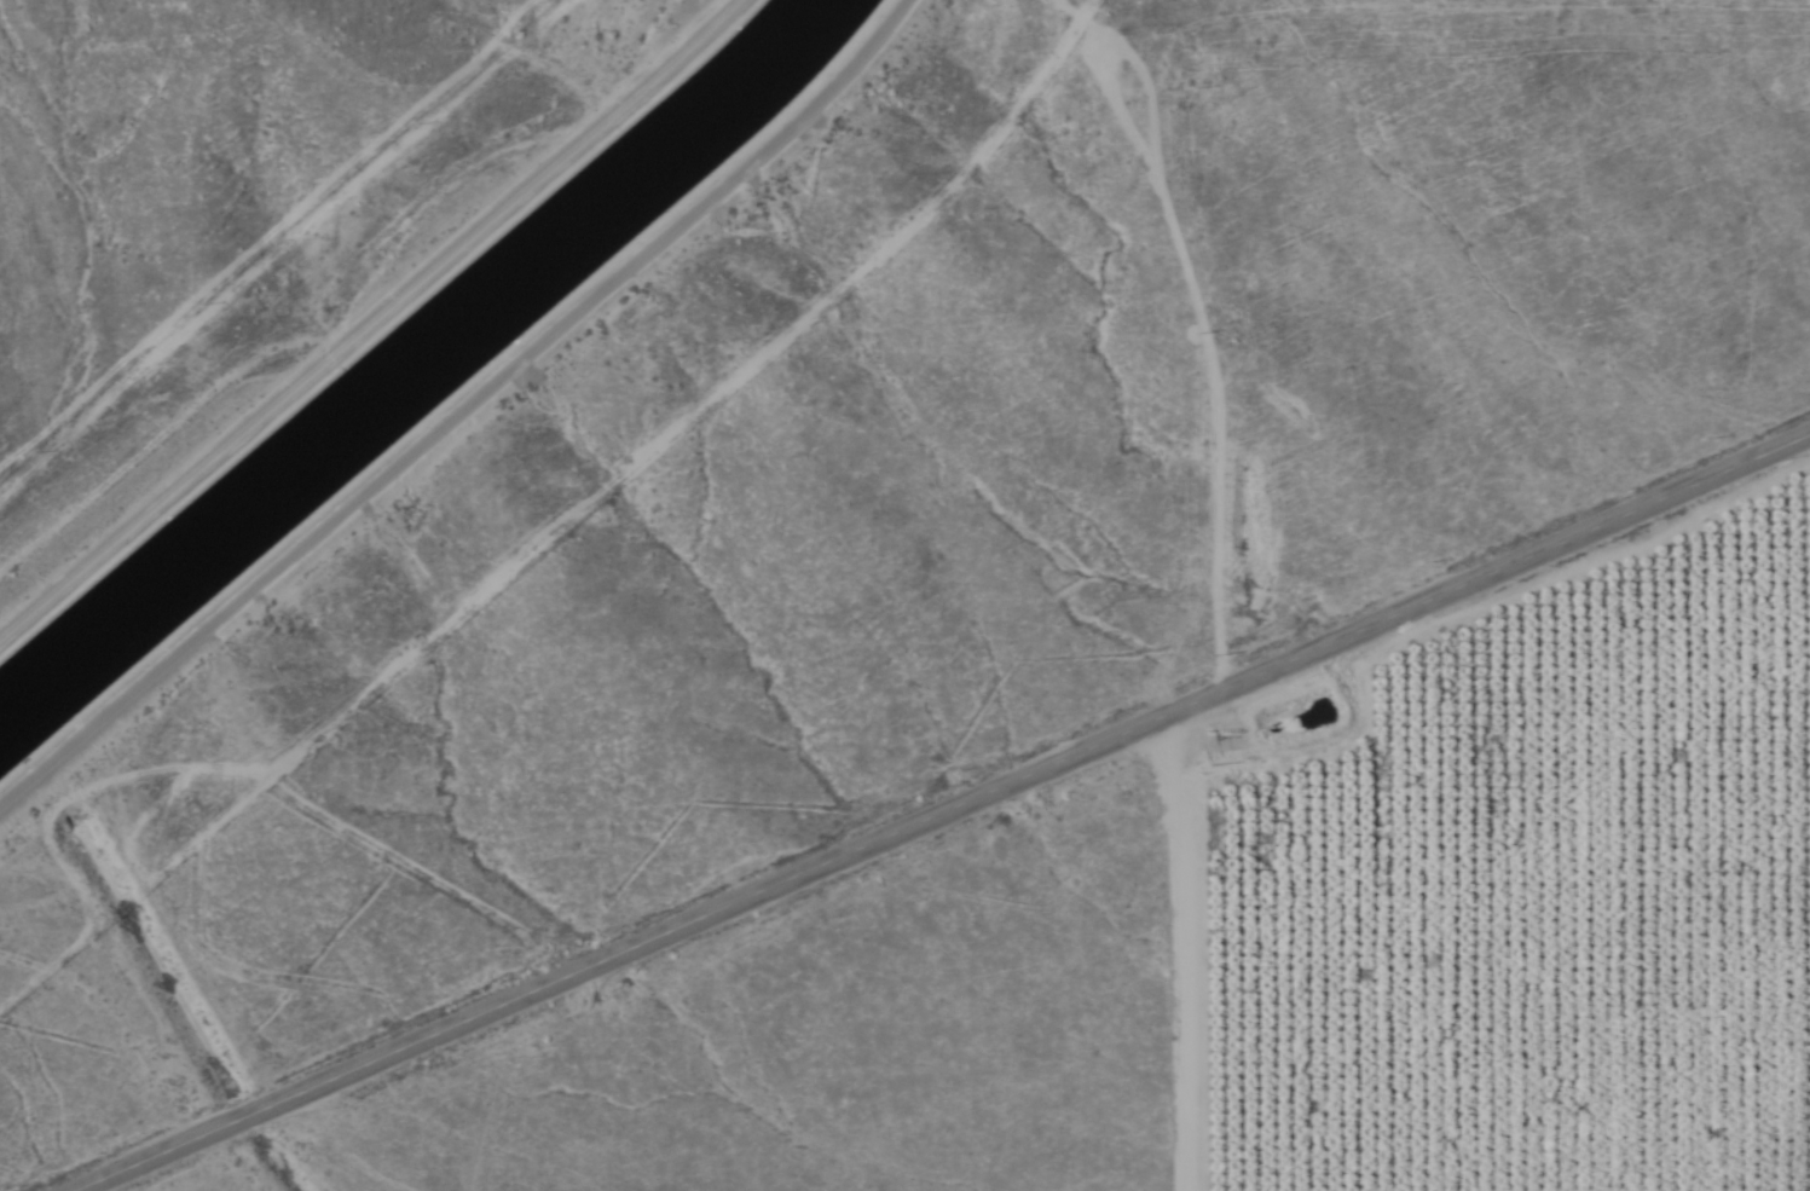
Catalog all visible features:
road: (369, 319)
road: (457, 409)
road: (573, 540)
road: (942, 810)
road: (1179, 953)

